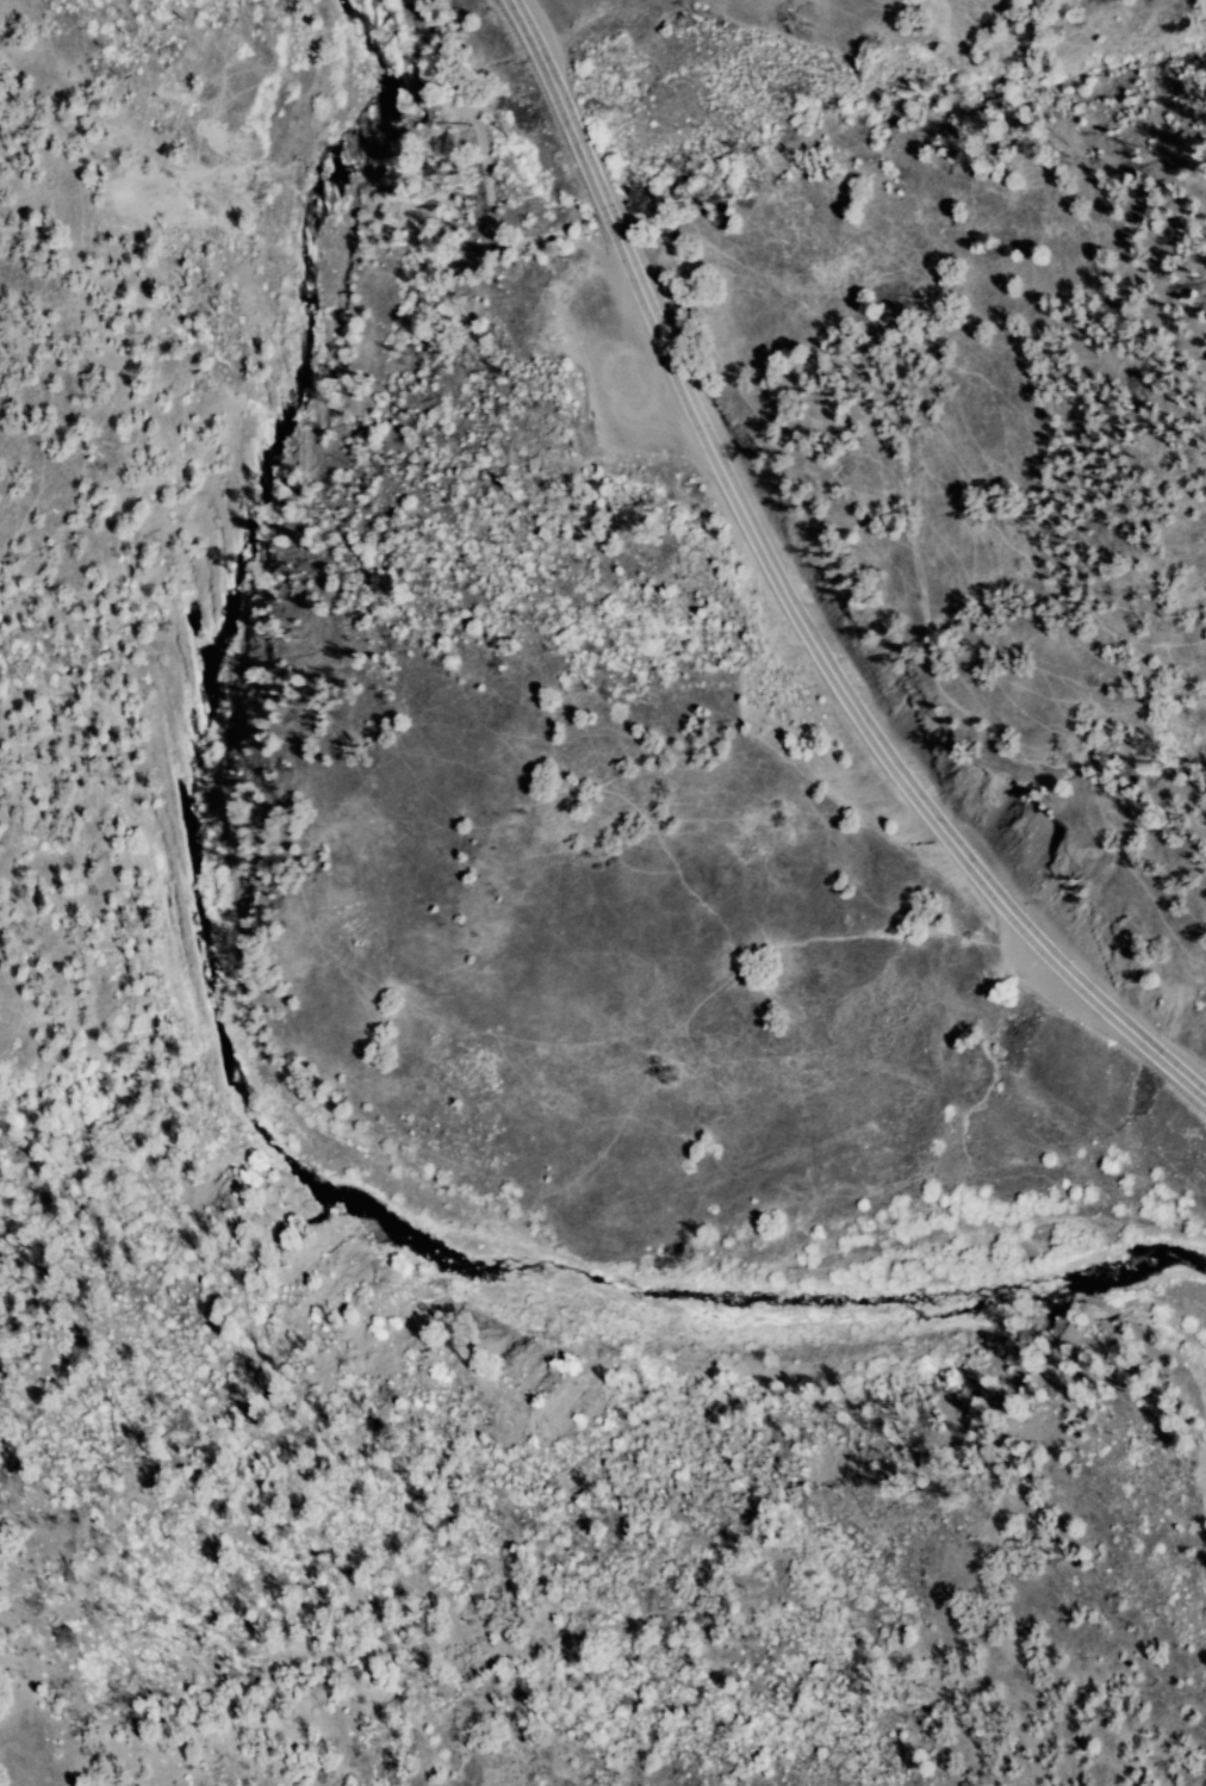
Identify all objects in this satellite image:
road: (782, 597)
parking lot: (1032, 963)

